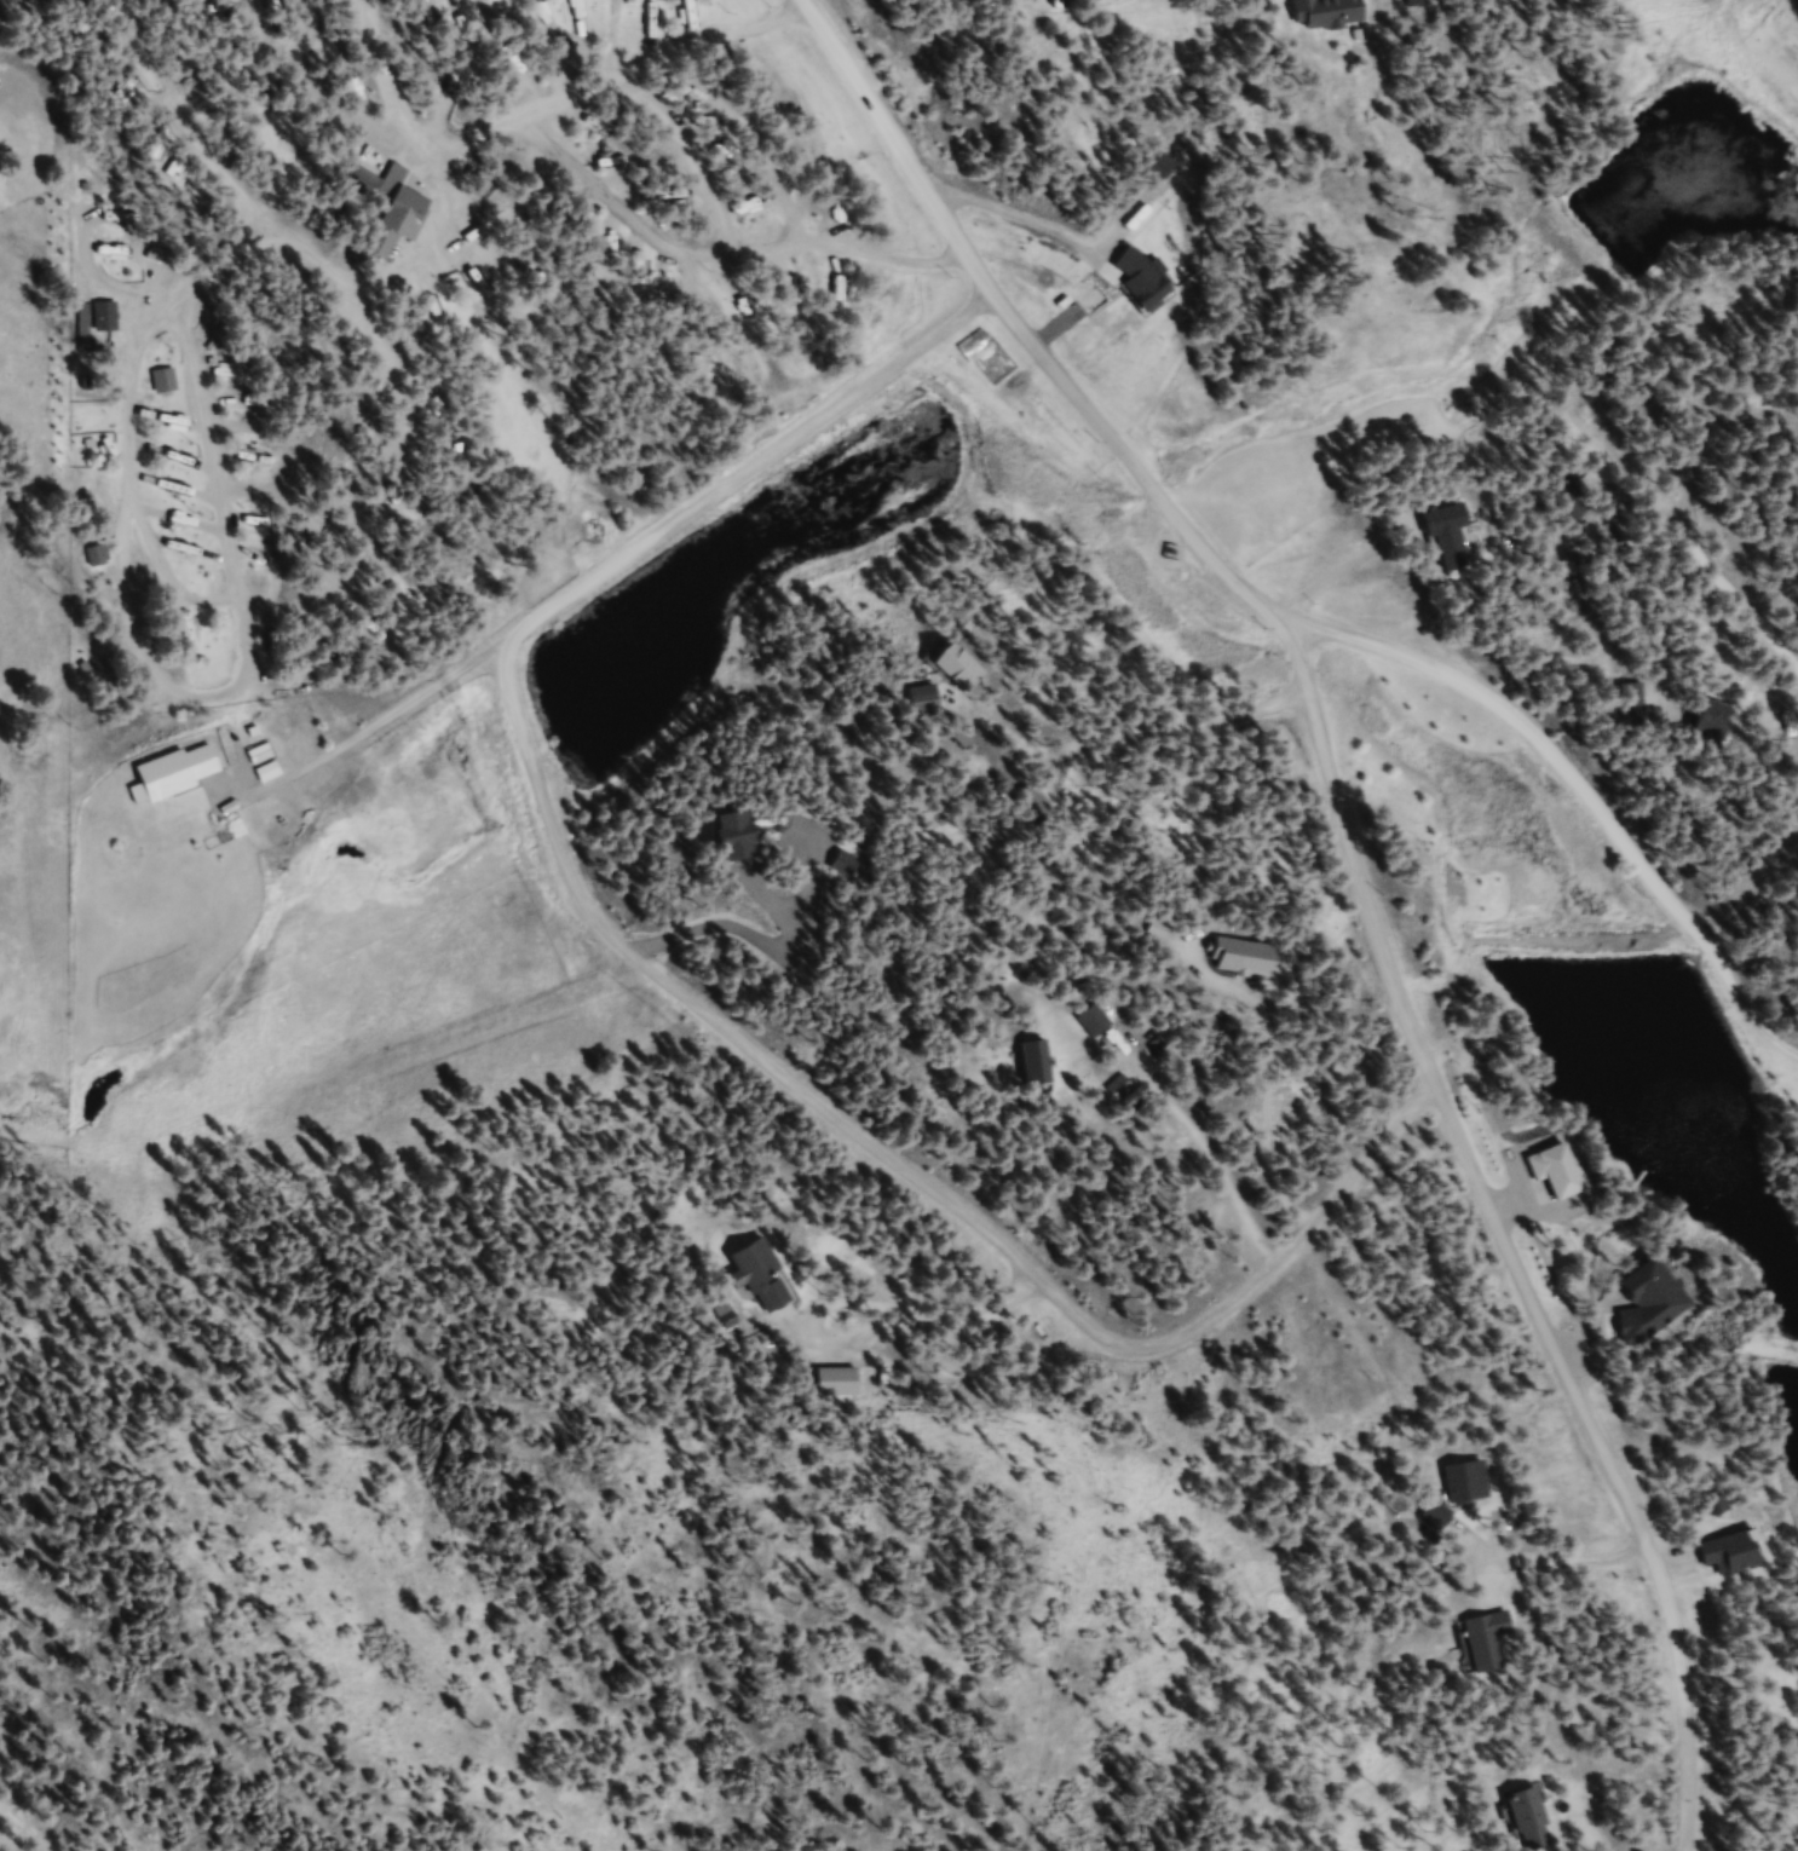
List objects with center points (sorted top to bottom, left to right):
building: (1338, 13)
building: (375, 188)
building: (128, 261)
building: (1039, 272)
building: (1110, 316)
building: (111, 321)
building: (171, 385)
road: (745, 478)
building: (1458, 534)
building: (103, 560)
building: (1638, 698)
road: (1487, 704)
building: (1722, 727)
building: (186, 774)
building: (275, 774)
building: (716, 834)
road: (1354, 865)
road: (1727, 911)
road: (1756, 1005)
building: (1093, 1023)
building: (1031, 1063)
road: (1791, 1072)
road: (905, 1192)
building: (757, 1278)
building: (832, 1383)
building: (1463, 1483)
building: (1433, 1517)
building: (1724, 1556)
building: (1485, 1647)
building: (1523, 1818)

